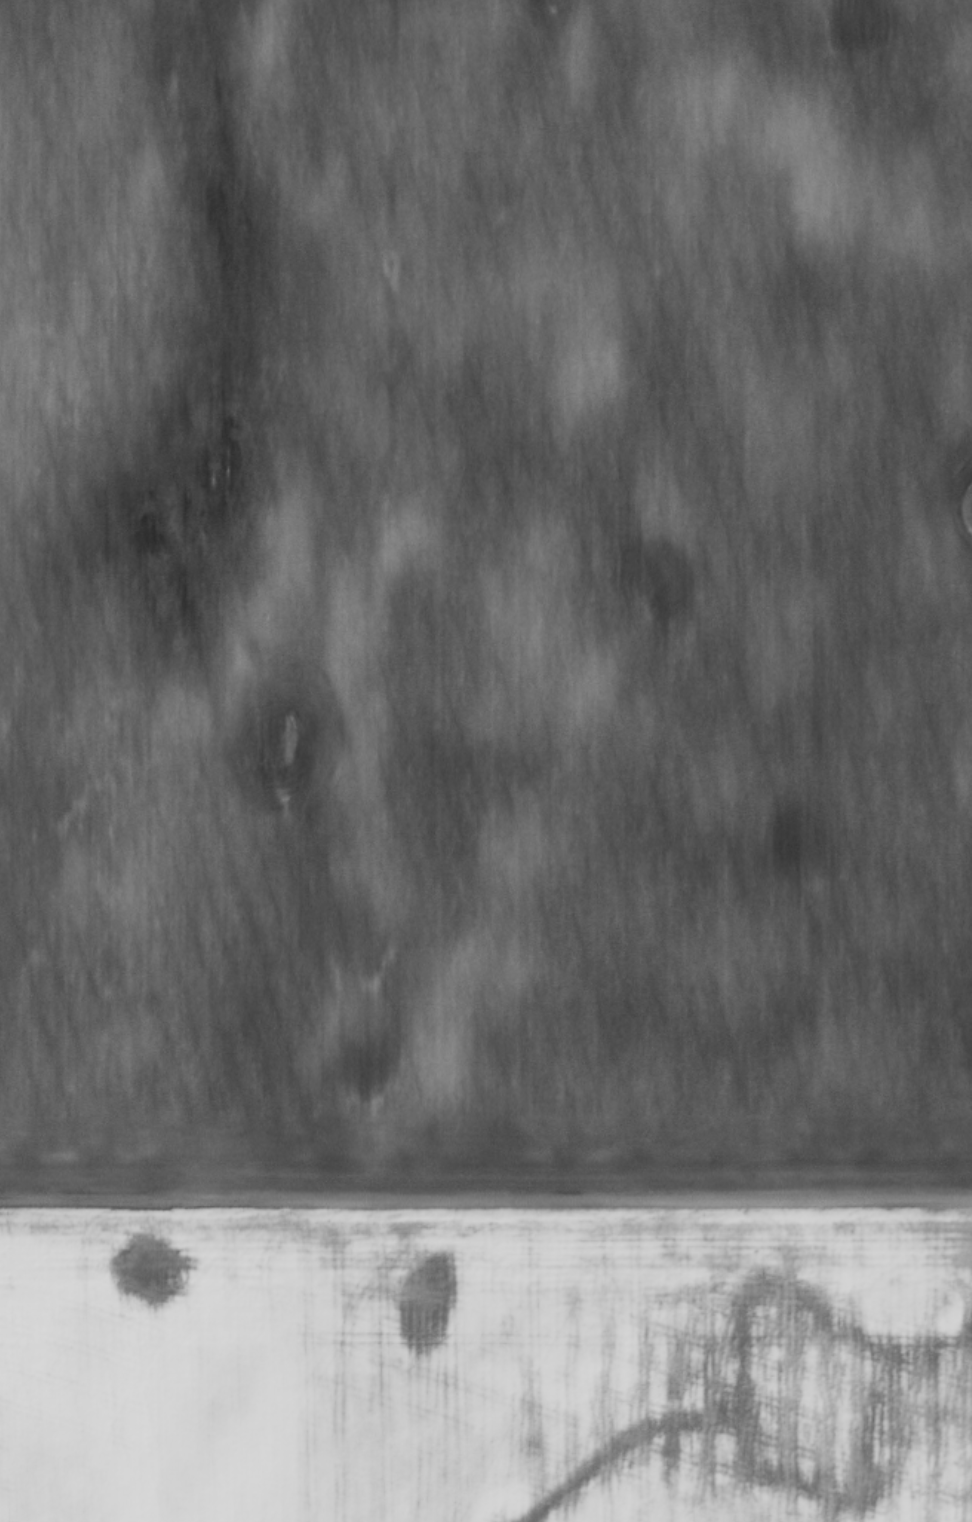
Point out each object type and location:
road: (486, 1192)

